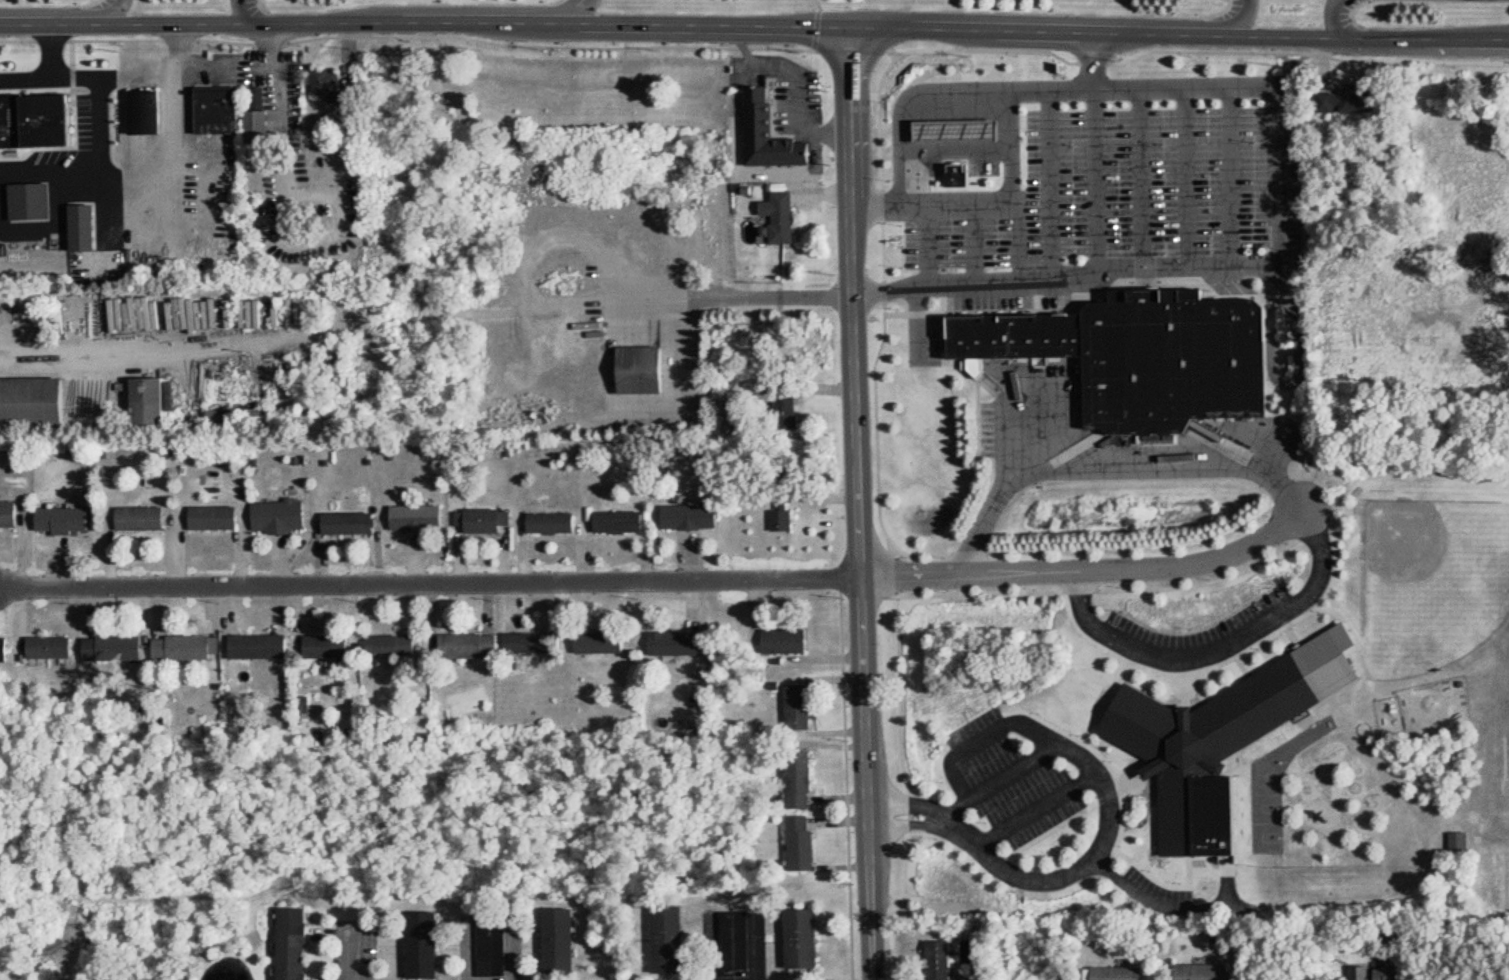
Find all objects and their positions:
road: (590, 12)
road: (120, 13)
road: (245, 13)
road: (832, 13)
road: (1248, 19)
road: (1337, 20)
road: (754, 25)
road: (47, 51)
road: (1090, 61)
road: (216, 73)
road: (23, 80)
building: (324, 83)
road: (1225, 87)
building: (1343, 101)
building: (215, 110)
building: (142, 112)
building: (255, 117)
building: (43, 118)
building: (89, 125)
building: (953, 128)
building: (773, 132)
road: (99, 151)
road: (955, 151)
building: (956, 172)
road: (1230, 176)
road: (1185, 177)
road: (1141, 178)
road: (1096, 183)
road: (1052, 185)
building: (39, 201)
road: (876, 205)
building: (778, 216)
building: (91, 228)
road: (1278, 273)
road: (599, 302)
road: (266, 343)
building: (1139, 355)
building: (646, 367)
road: (1285, 383)
building: (35, 392)
building: (156, 404)
building: (784, 414)
road: (1004, 448)
road: (1105, 469)
road: (864, 503)
building: (8, 513)
building: (402, 515)
building: (429, 515)
building: (673, 515)
building: (701, 515)
building: (285, 516)
building: (75, 517)
building: (126, 517)
building: (149, 517)
building: (200, 517)
building: (223, 517)
building: (490, 517)
building: (47, 518)
building: (560, 521)
building: (629, 521)
building: (779, 521)
building: (335, 522)
building: (359, 522)
building: (536, 522)
building: (605, 522)
road: (1090, 572)
road: (433, 584)
building: (795, 639)
building: (771, 640)
building: (538, 641)
building: (475, 643)
building: (604, 643)
building: (336, 644)
building: (681, 644)
building: (269, 645)
building: (312, 645)
building: (402, 645)
road: (1219, 645)
building: (242, 646)
building: (36, 647)
building: (59, 647)
building: (97, 647)
building: (124, 647)
building: (2, 650)
building: (803, 707)
building: (1210, 748)
road: (1009, 772)
building: (804, 778)
road: (1102, 786)
road: (913, 805)
road: (1035, 813)
road: (949, 822)
road: (907, 824)
building: (1456, 843)
building: (798, 844)
road: (1155, 904)
building: (674, 933)
building: (563, 937)
building: (806, 938)
building: (740, 939)
building: (497, 942)
building: (297, 944)
building: (431, 944)
road: (469, 949)
road: (513, 950)
building: (945, 958)
road: (356, 959)
building: (1390, 969)
building: (1205, 971)
building: (1121, 972)
building: (1301, 975)

